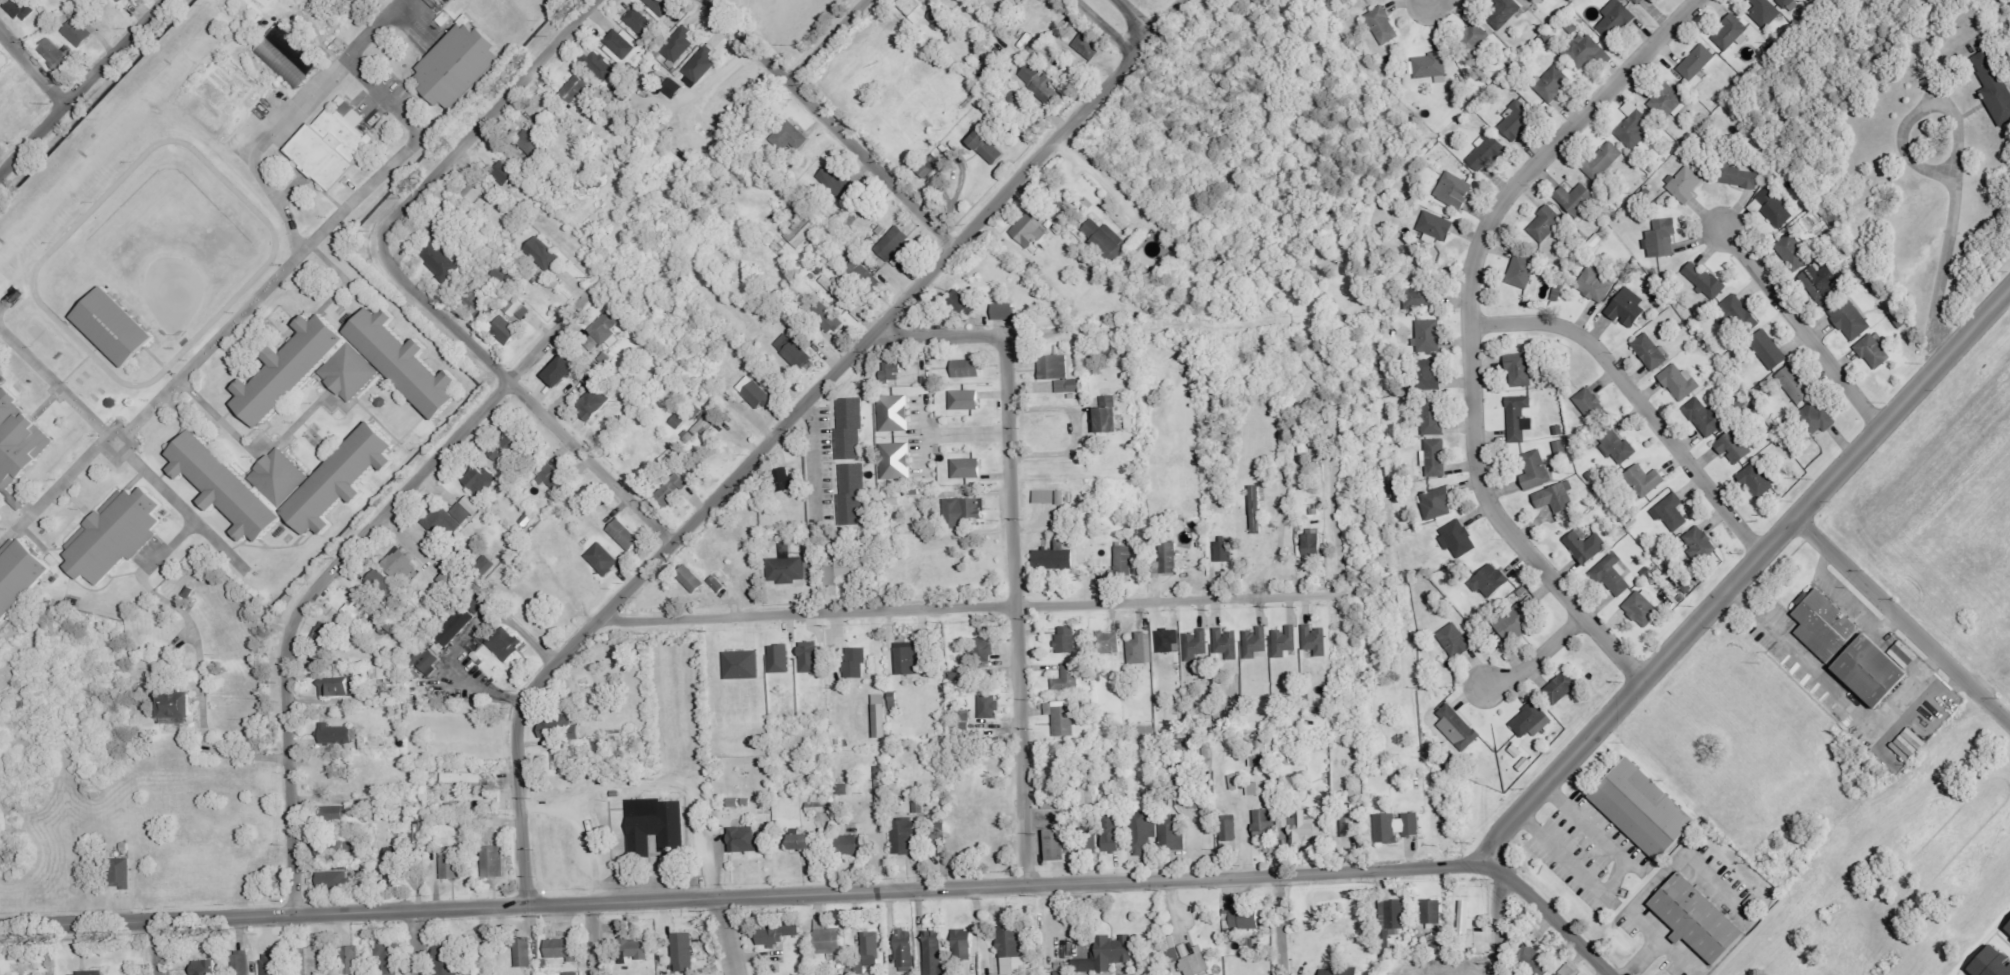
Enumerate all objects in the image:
building: (354, 0)
building: (123, 1)
road: (1430, 1)
building: (1533, 1)
building: (1639, 1)
building: (1786, 3)
building: (661, 6)
building: (18, 7)
building: (40, 7)
building: (912, 9)
building: (1501, 11)
building: (1765, 12)
building: (936, 15)
building: (638, 19)
building: (1617, 19)
building: (1379, 21)
road: (1134, 24)
road: (1105, 27)
road: (374, 28)
building: (75, 29)
building: (1730, 32)
building: (1023, 38)
road: (826, 40)
building: (1472, 40)
building: (678, 41)
building: (618, 42)
building: (584, 44)
building: (1034, 45)
building: (651, 46)
building: (1088, 47)
building: (292, 48)
building: (1585, 52)
building: (56, 53)
building: (279, 61)
building: (457, 62)
building: (700, 62)
building: (600, 64)
building: (1429, 66)
road: (31, 67)
building: (1045, 81)
building: (1554, 84)
road: (81, 85)
building: (1995, 87)
building: (674, 88)
building: (574, 89)
building: (1668, 103)
building: (1629, 108)
building: (348, 109)
road: (482, 120)
building: (1518, 121)
road: (830, 123)
building: (1636, 130)
building: (791, 133)
building: (532, 140)
road: (260, 144)
building: (983, 145)
building: (328, 146)
building: (1488, 151)
road: (1962, 157)
building: (1603, 161)
building: (502, 170)
building: (924, 170)
building: (1743, 178)
building: (590, 179)
building: (833, 179)
building: (1686, 184)
building: (474, 185)
building: (1455, 191)
building: (1577, 198)
building: (1775, 207)
building: (849, 217)
building: (432, 222)
building: (1547, 225)
building: (1030, 226)
building: (1437, 226)
building: (801, 227)
building: (1056, 227)
building: (878, 228)
building: (1105, 238)
building: (1663, 238)
building: (890, 241)
building: (499, 249)
building: (1794, 249)
building: (1015, 253)
building: (544, 254)
building: (896, 258)
building: (438, 260)
building: (863, 271)
building: (1524, 271)
building: (503, 274)
building: (535, 278)
building: (1705, 279)
building: (1596, 285)
building: (1819, 286)
building: (1422, 296)
building: (843, 297)
building: (959, 300)
building: (477, 303)
building: (514, 306)
road: (245, 307)
building: (1628, 307)
building: (1002, 310)
building: (1737, 314)
building: (1850, 318)
building: (829, 319)
road: (1069, 322)
building: (112, 324)
building: (605, 326)
road: (1469, 326)
building: (503, 327)
road: (1800, 327)
road: (941, 336)
building: (1430, 336)
building: (792, 350)
building: (1768, 350)
building: (1651, 351)
building: (1874, 352)
building: (603, 356)
building: (402, 360)
building: (561, 361)
building: (1051, 365)
building: (287, 366)
building: (964, 366)
building: (347, 367)
building: (592, 367)
building: (1522, 368)
building: (743, 369)
building: (888, 369)
building: (564, 371)
building: (1433, 376)
building: (913, 379)
building: (1680, 382)
building: (1066, 384)
building: (1796, 384)
building: (753, 391)
building: (1070, 395)
road: (1637, 396)
road: (525, 397)
building: (962, 397)
building: (590, 399)
building: (1590, 403)
building: (692, 411)
building: (892, 411)
road: (920, 414)
building: (1104, 414)
building: (1434, 416)
building: (1707, 417)
building: (1817, 417)
building: (1519, 418)
building: (675, 420)
building: (847, 426)
building: (695, 427)
road: (949, 429)
building: (16, 445)
building: (505, 446)
building: (1617, 446)
building: (1735, 447)
building: (1561, 448)
road: (758, 453)
building: (1436, 456)
building: (894, 459)
building: (965, 466)
building: (1536, 470)
building: (282, 476)
building: (552, 478)
building: (784, 478)
building: (345, 479)
building: (482, 480)
building: (1646, 480)
building: (1757, 481)
road: (54, 487)
building: (228, 488)
building: (909, 488)
building: (669, 489)
building: (850, 492)
building: (942, 493)
building: (1042, 494)
building: (1058, 495)
building: (1557, 497)
building: (891, 499)
building: (1439, 503)
building: (959, 508)
building: (1258, 509)
building: (1671, 512)
building: (451, 516)
building: (118, 535)
building: (625, 535)
building: (1458, 538)
building: (1701, 543)
building: (783, 545)
building: (1586, 546)
building: (1313, 547)
building: (1226, 552)
building: (1052, 555)
building: (1171, 558)
road: (339, 559)
building: (604, 559)
building: (810, 560)
building: (1125, 560)
building: (400, 564)
building: (485, 565)
building: (853, 565)
building: (784, 568)
road: (1740, 573)
building: (20, 575)
building: (1614, 575)
building: (688, 577)
building: (451, 578)
building: (1491, 581)
building: (715, 582)
building: (1532, 603)
building: (359, 606)
road: (975, 607)
building: (1643, 608)
road: (1017, 609)
road: (1903, 619)
building: (1516, 622)
building: (455, 626)
building: (1827, 626)
building: (326, 635)
building: (1068, 640)
building: (1316, 640)
building: (1170, 641)
building: (1456, 641)
building: (1256, 642)
building: (1285, 642)
building: (507, 643)
building: (1108, 643)
building: (1227, 643)
building: (982, 645)
building: (1197, 646)
building: (1141, 649)
road: (1537, 656)
building: (812, 657)
building: (781, 659)
building: (910, 659)
building: (427, 660)
building: (855, 662)
building: (744, 665)
building: (1875, 671)
building: (1068, 678)
building: (1565, 685)
building: (341, 687)
building: (395, 697)
building: (181, 705)
building: (990, 707)
building: (881, 716)
building: (1062, 718)
building: (1533, 721)
building: (965, 723)
building: (562, 726)
building: (1459, 728)
building: (1143, 732)
building: (337, 736)
building: (602, 750)
building: (1259, 753)
building: (1052, 770)
building: (467, 781)
building: (1233, 782)
building: (884, 787)
building: (1254, 789)
building: (1088, 790)
building: (1355, 790)
building: (1190, 801)
building: (821, 807)
building: (1646, 809)
building: (657, 825)
building: (1266, 825)
building: (1308, 827)
building: (1349, 827)
building: (1397, 827)
building: (1112, 830)
building: (1230, 831)
road: (581, 832)
building: (1146, 832)
building: (1174, 833)
building: (905, 837)
building: (1090, 837)
building: (808, 839)
building: (748, 840)
building: (1060, 845)
building: (854, 846)
building: (326, 847)
building: (495, 862)
building: (453, 863)
building: (121, 873)
building: (335, 881)
road: (1017, 886)
building: (1433, 912)
road: (263, 915)
building: (1397, 918)
building: (1466, 918)
building: (1247, 919)
building: (1700, 920)
road: (1279, 924)
road: (1558, 924)
road: (1499, 925)
building: (2006, 927)
building: (780, 934)
road: (727, 936)
building: (829, 938)
road: (591, 939)
road: (415, 943)
building: (964, 945)
road: (155, 947)
building: (905, 948)
building: (564, 949)
building: (871, 949)
building: (634, 950)
building: (1012, 950)
building: (523, 952)
building: (686, 953)
building: (933, 953)
building: (391, 956)
building: (1108, 956)
building: (478, 959)
building: (354, 960)
building: (449, 960)
building: (1534, 960)
building: (310, 961)
building: (1987, 962)
building: (242, 963)
building: (1196, 964)
building: (272, 965)
building: (207, 967)
building: (1063, 968)
building: (1343, 971)
building: (1567, 971)
building: (100, 973)
building: (571, 973)

